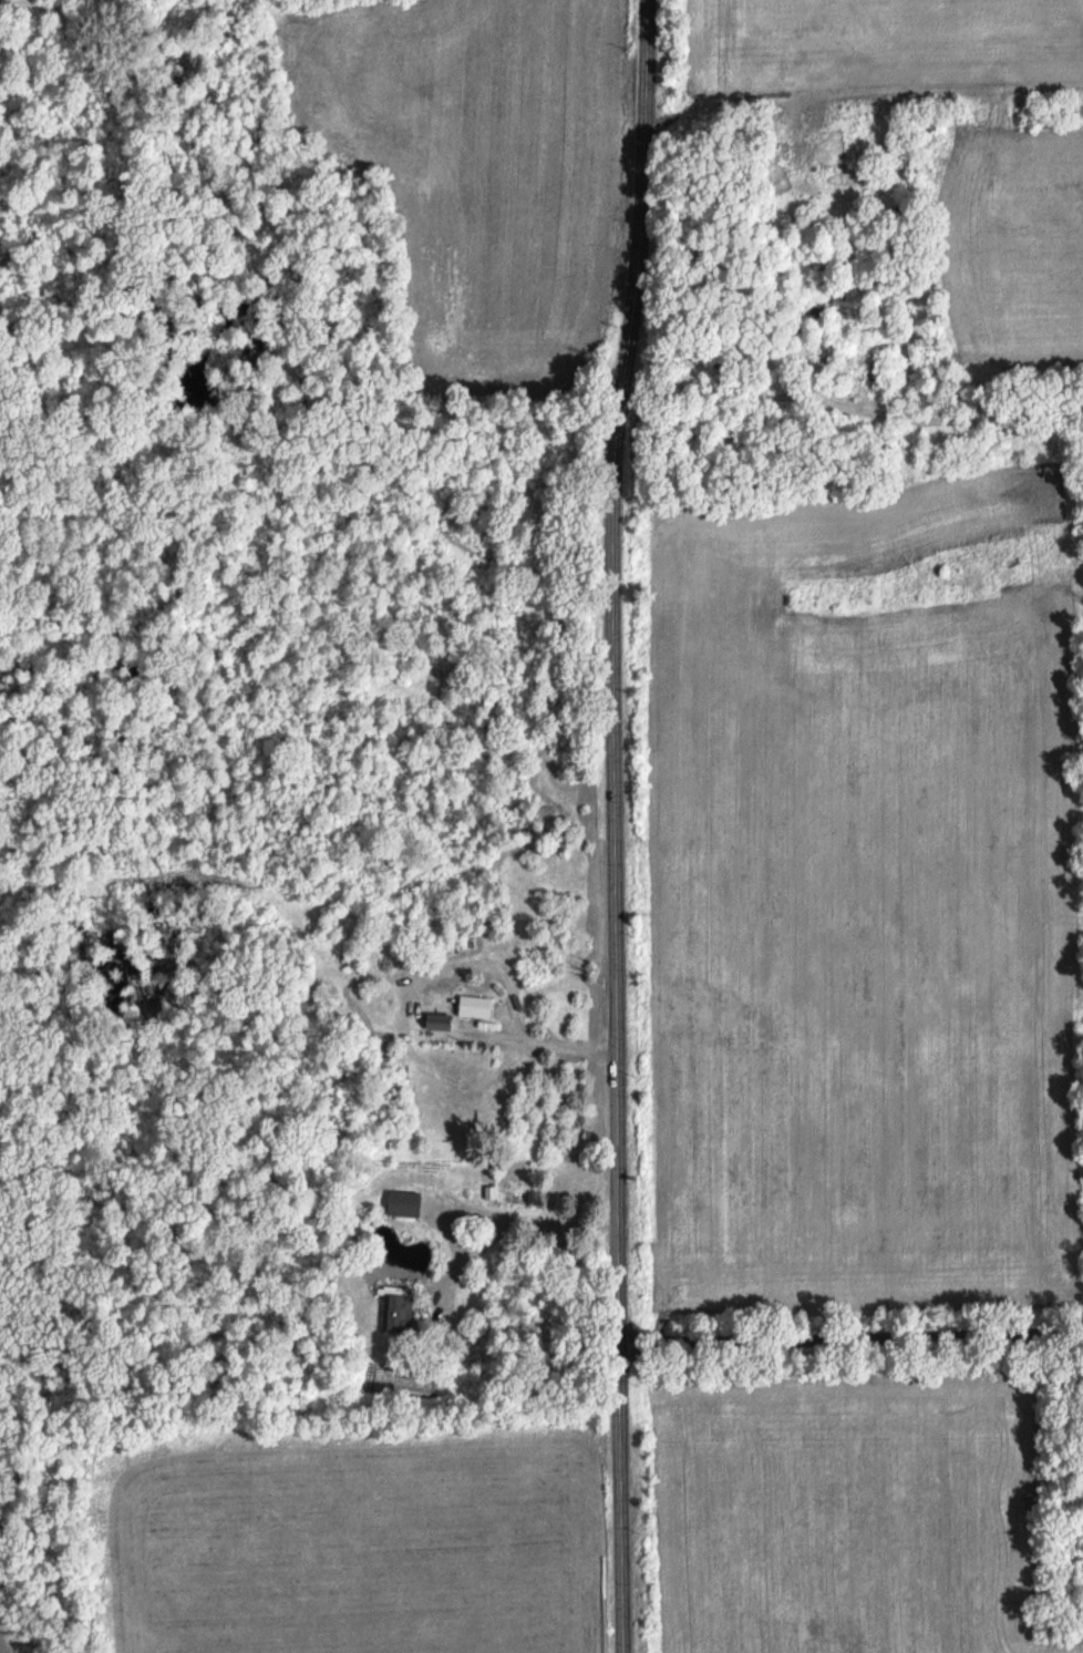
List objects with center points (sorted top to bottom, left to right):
road: (618, 825)
building: (477, 1007)
building: (441, 1024)
building: (399, 1201)
building: (391, 1308)
road: (850, 1343)

